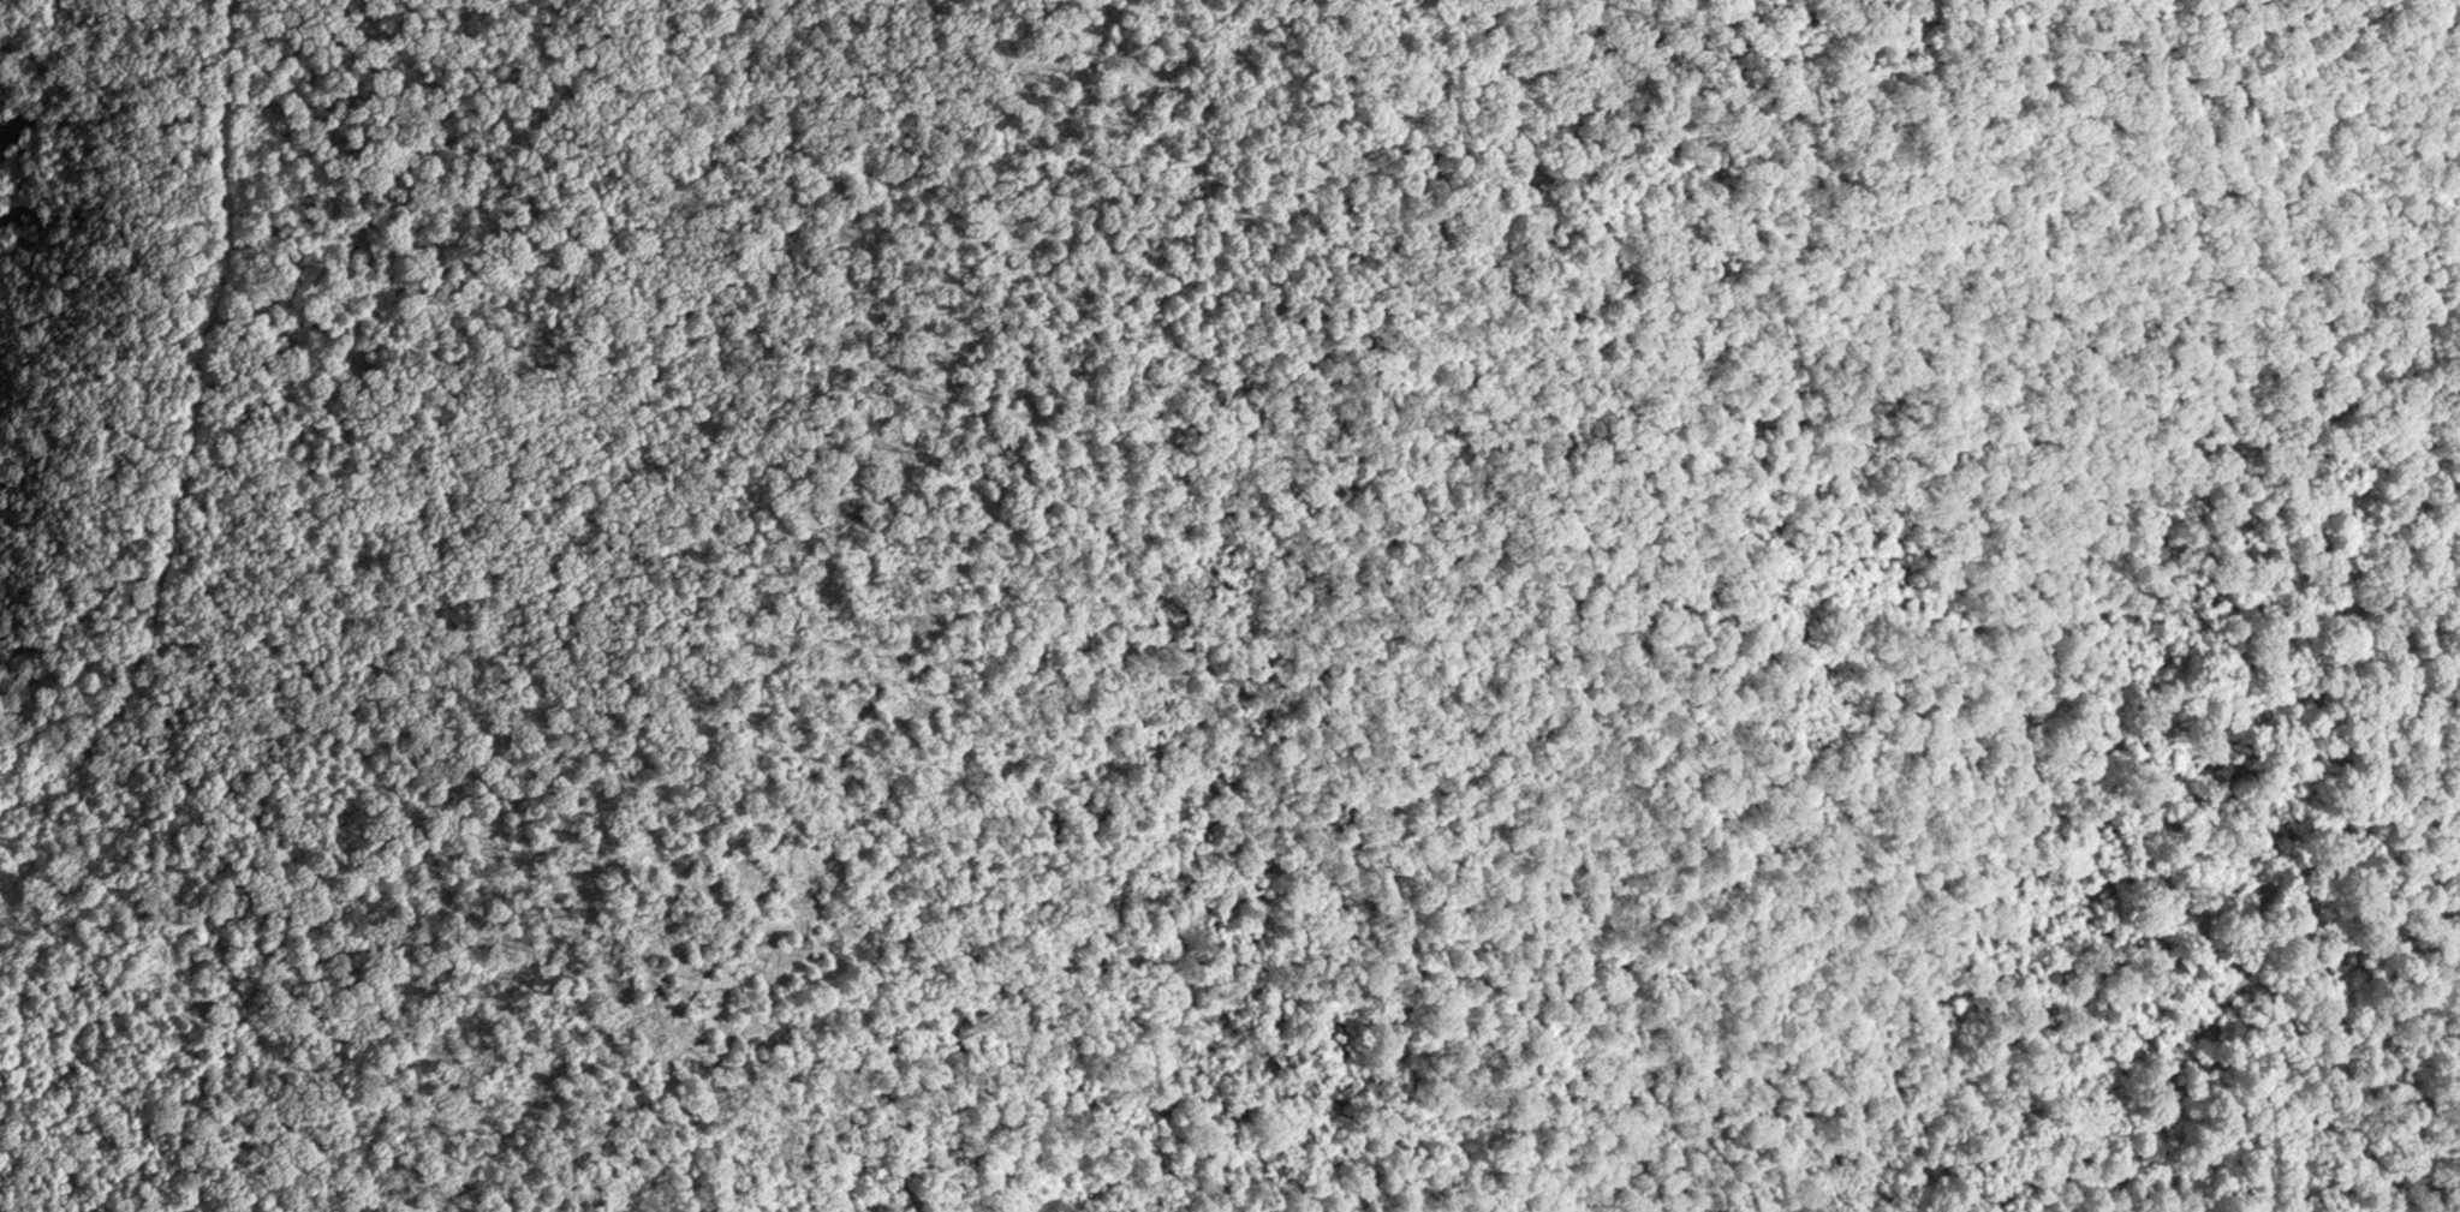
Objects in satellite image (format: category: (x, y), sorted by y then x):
road: (196, 372)
road: (796, 610)

